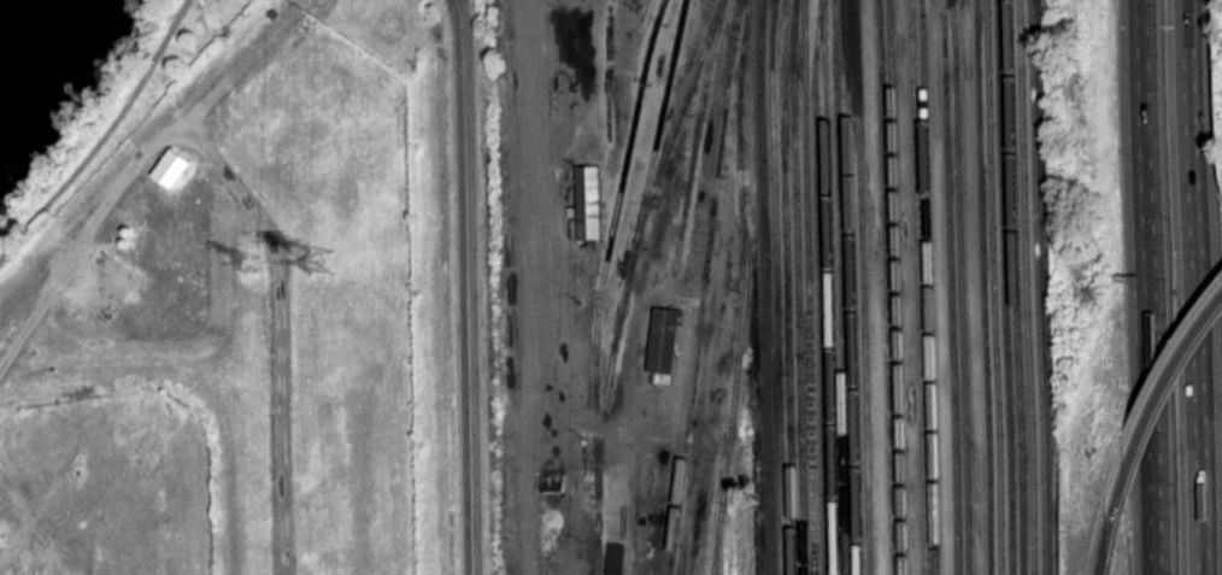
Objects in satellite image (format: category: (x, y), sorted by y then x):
railway: (672, 131)
railway: (694, 133)
road: (105, 137)
road: (130, 169)
building: (587, 200)
railway: (633, 245)
power tower: (325, 256)
power tower: (251, 258)
railway: (600, 283)
road: (465, 287)
railway: (701, 287)
railway: (744, 287)
railway: (763, 287)
railway: (775, 287)
railway: (785, 287)
railway: (798, 287)
railway: (809, 287)
railway: (818, 287)
railway: (828, 287)
railway: (839, 287)
railway: (850, 287)
railway: (860, 287)
railway: (883, 287)
railway: (894, 287)
railway: (917, 287)
railway: (928, 287)
railway: (948, 287)
railway: (959, 287)
railway: (981, 287)
railway: (991, 287)
railway: (1001, 287)
railway: (1012, 287)
railway: (1022, 287)
railway: (1034, 287)
road: (1147, 287)
road: (1193, 287)
landfill: (246, 323)
road: (275, 330)
road: (1158, 391)
railway: (724, 521)
road: (33, 526)
road: (1106, 538)
road: (18, 544)
railway: (715, 573)

